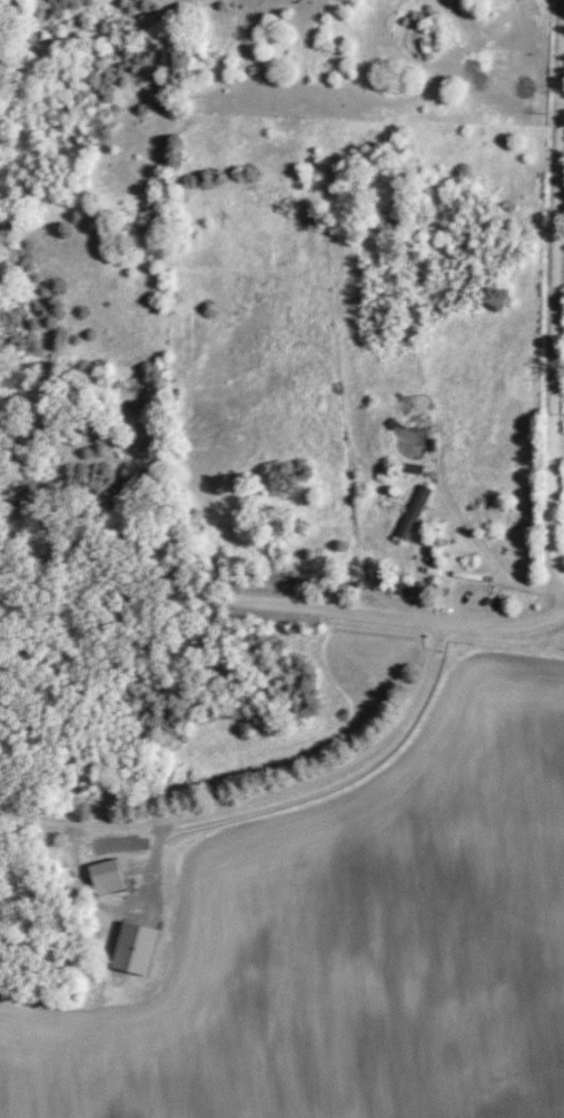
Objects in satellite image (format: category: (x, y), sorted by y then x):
road: (485, 218)
road: (555, 294)
road: (557, 454)
building: (416, 515)
road: (283, 609)
road: (263, 800)
building: (111, 878)

